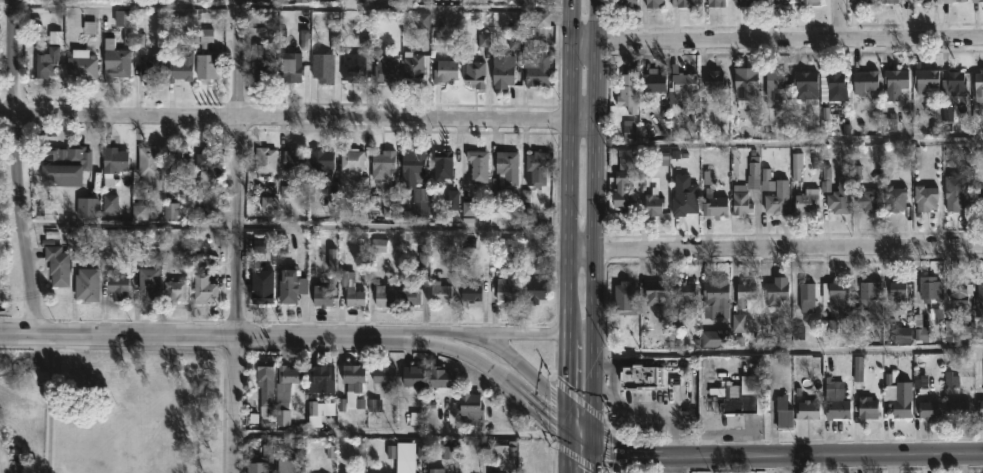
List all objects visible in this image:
building: (363, 0)
building: (425, 0)
building: (922, 0)
building: (975, 0)
building: (863, 1)
building: (892, 1)
building: (777, 2)
building: (812, 2)
building: (944, 2)
building: (683, 3)
building: (716, 3)
building: (749, 3)
building: (655, 4)
building: (626, 5)
road: (292, 8)
road: (841, 18)
building: (125, 24)
road: (775, 38)
building: (265, 57)
building: (50, 59)
building: (116, 59)
building: (83, 64)
building: (182, 65)
building: (207, 66)
building: (293, 66)
building: (326, 67)
building: (413, 67)
building: (353, 68)
building: (387, 69)
building: (446, 69)
building: (538, 69)
building: (150, 70)
building: (475, 72)
building: (503, 73)
building: (897, 78)
building: (715, 79)
building: (866, 80)
building: (929, 80)
building: (653, 81)
building: (748, 82)
building: (957, 82)
building: (774, 83)
building: (979, 83)
building: (686, 85)
building: (807, 85)
building: (837, 85)
building: (628, 91)
road: (298, 116)
road: (790, 146)
building: (352, 157)
building: (266, 158)
building: (115, 160)
building: (209, 160)
building: (295, 160)
building: (323, 160)
building: (179, 162)
building: (65, 163)
building: (383, 163)
building: (443, 164)
building: (478, 164)
road: (17, 165)
building: (149, 167)
building: (413, 167)
building: (538, 167)
building: (504, 174)
building: (748, 186)
building: (783, 191)
building: (956, 191)
building: (624, 192)
building: (841, 195)
building: (898, 197)
building: (926, 197)
building: (686, 198)
building: (979, 198)
building: (808, 200)
building: (870, 200)
building: (654, 202)
building: (715, 203)
building: (87, 205)
road: (293, 229)
road: (240, 236)
road: (567, 236)
road: (595, 236)
road: (775, 248)
building: (58, 264)
building: (152, 274)
building: (89, 283)
building: (263, 284)
building: (118, 285)
building: (291, 286)
building: (930, 286)
building: (508, 287)
building: (205, 288)
building: (536, 288)
building: (176, 289)
building: (352, 289)
building: (960, 289)
building: (471, 290)
building: (777, 290)
building: (441, 291)
building: (717, 292)
building: (898, 292)
building: (655, 293)
building: (687, 293)
building: (746, 293)
building: (838, 293)
building: (322, 295)
building: (808, 295)
building: (385, 296)
building: (414, 297)
building: (626, 297)
building: (980, 298)
building: (874, 300)
building: (922, 329)
road: (198, 331)
road: (525, 332)
building: (715, 336)
road: (172, 345)
road: (788, 353)
road: (519, 363)
building: (290, 374)
building: (414, 375)
building: (355, 376)
building: (385, 376)
building: (442, 376)
building: (321, 377)
building: (640, 377)
road: (552, 378)
building: (889, 380)
building: (266, 386)
road: (509, 387)
building: (750, 397)
building: (735, 398)
building: (838, 399)
building: (903, 399)
building: (472, 405)
traffic signals: (565, 407)
building: (869, 407)
building: (980, 407)
road: (49, 408)
building: (958, 408)
building: (809, 409)
park: (110, 411)
building: (785, 411)
building: (930, 411)
traffic signals: (564, 430)
road: (377, 433)
traffic signals: (593, 434)
traffic signals: (593, 453)
road: (797, 455)
road: (796, 464)
road: (675, 465)
building: (255, 470)
building: (434, 470)
building: (496, 472)

